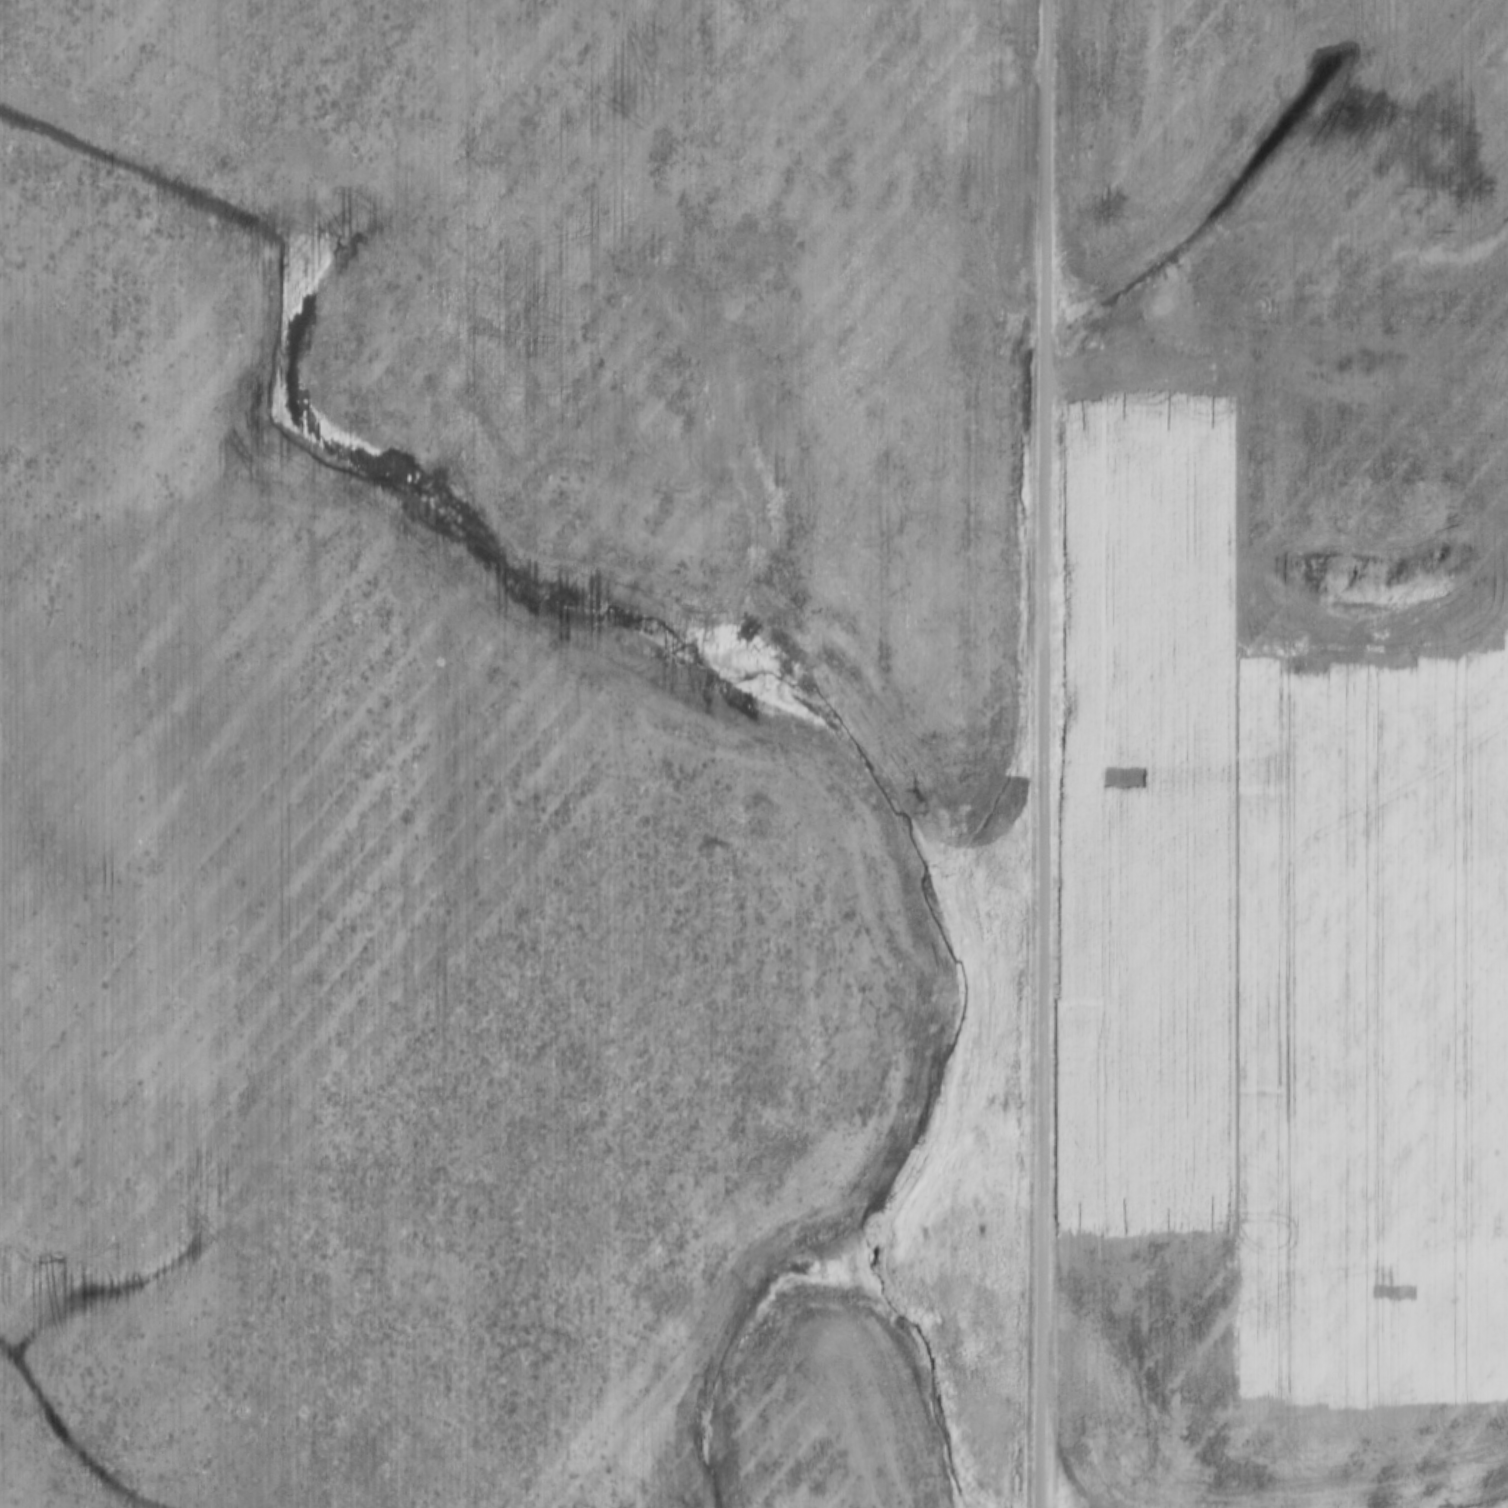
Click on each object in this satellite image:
road: (1046, 754)
quarry: (1503, 1506)

